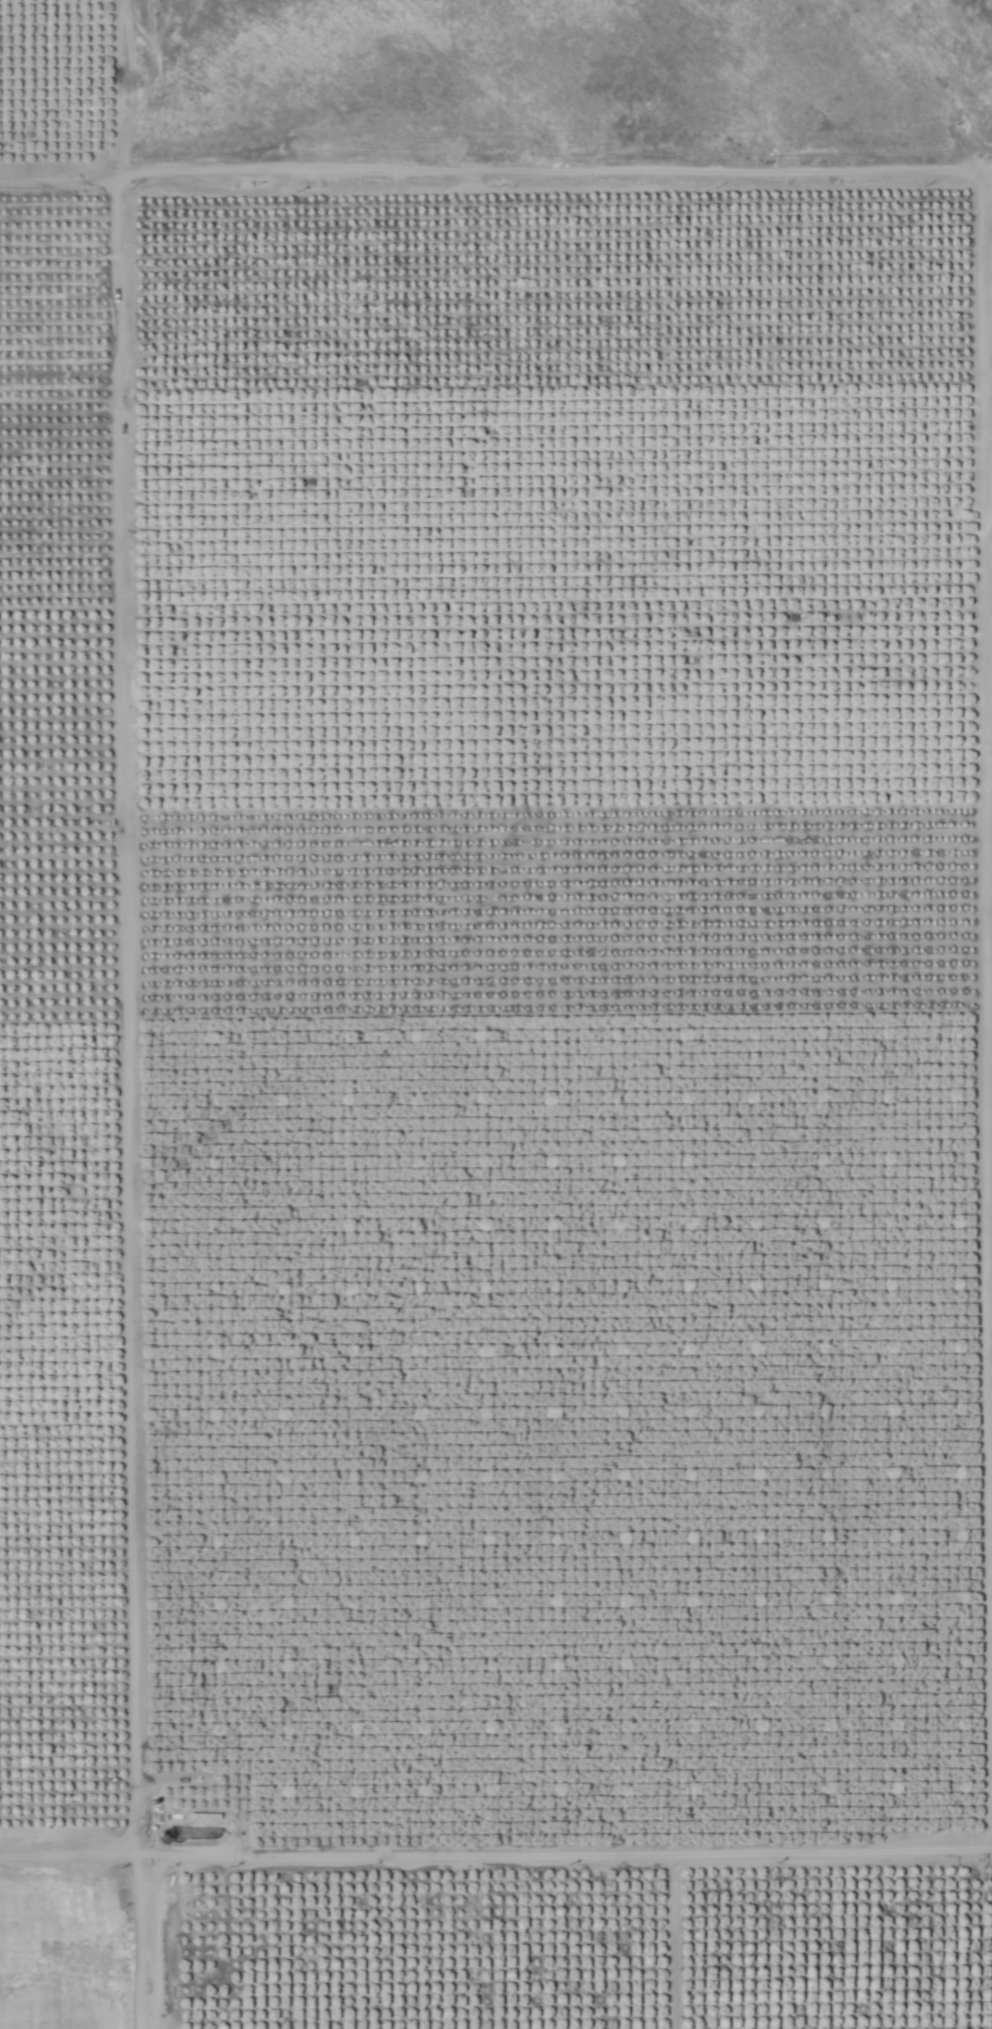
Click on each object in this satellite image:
road: (562, 205)
road: (137, 1014)
road: (819, 1022)
road: (70, 1851)
road: (382, 1912)

